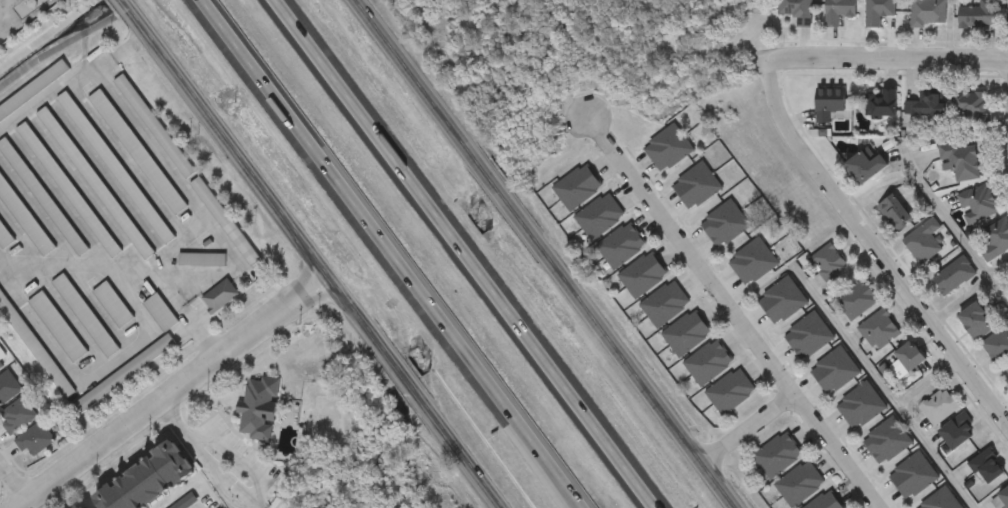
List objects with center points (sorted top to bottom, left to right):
building: (797, 10)
building: (838, 11)
building: (878, 12)
building: (928, 13)
building: (977, 14)
building: (1007, 14)
road: (901, 56)
building: (32, 88)
building: (829, 104)
building: (881, 104)
building: (926, 104)
building: (974, 108)
building: (152, 124)
building: (668, 149)
building: (135, 150)
building: (961, 161)
building: (866, 167)
building: (94, 182)
building: (696, 186)
building: (67, 188)
building: (578, 188)
building: (41, 196)
building: (978, 205)
building: (895, 213)
building: (600, 217)
building: (24, 218)
building: (225, 221)
building: (725, 224)
road: (966, 230)
building: (4, 237)
building: (998, 238)
building: (924, 241)
road: (873, 244)
building: (621, 246)
road: (549, 252)
road: (310, 253)
road: (466, 253)
road: (397, 254)
building: (201, 259)
building: (753, 262)
building: (828, 263)
building: (643, 275)
building: (954, 277)
building: (219, 295)
road: (969, 297)
building: (858, 300)
building: (782, 301)
building: (112, 303)
building: (666, 304)
building: (160, 311)
road: (735, 311)
building: (84, 315)
building: (977, 322)
building: (57, 326)
building: (880, 331)
building: (687, 334)
building: (809, 336)
building: (34, 346)
building: (998, 347)
building: (908, 360)
building: (709, 363)
building: (0, 364)
building: (835, 371)
building: (121, 374)
road: (926, 375)
building: (1007, 381)
road: (172, 392)
road: (898, 392)
building: (731, 393)
building: (861, 407)
building: (939, 407)
building: (259, 408)
building: (16, 415)
road: (750, 429)
building: (959, 432)
building: (34, 439)
building: (887, 441)
building: (778, 456)
road: (206, 459)
building: (988, 467)
building: (913, 476)
building: (146, 480)
road: (13, 483)
building: (800, 484)
building: (941, 500)
building: (1001, 500)
building: (825, 502)
road: (29, 504)
building: (83, 507)

